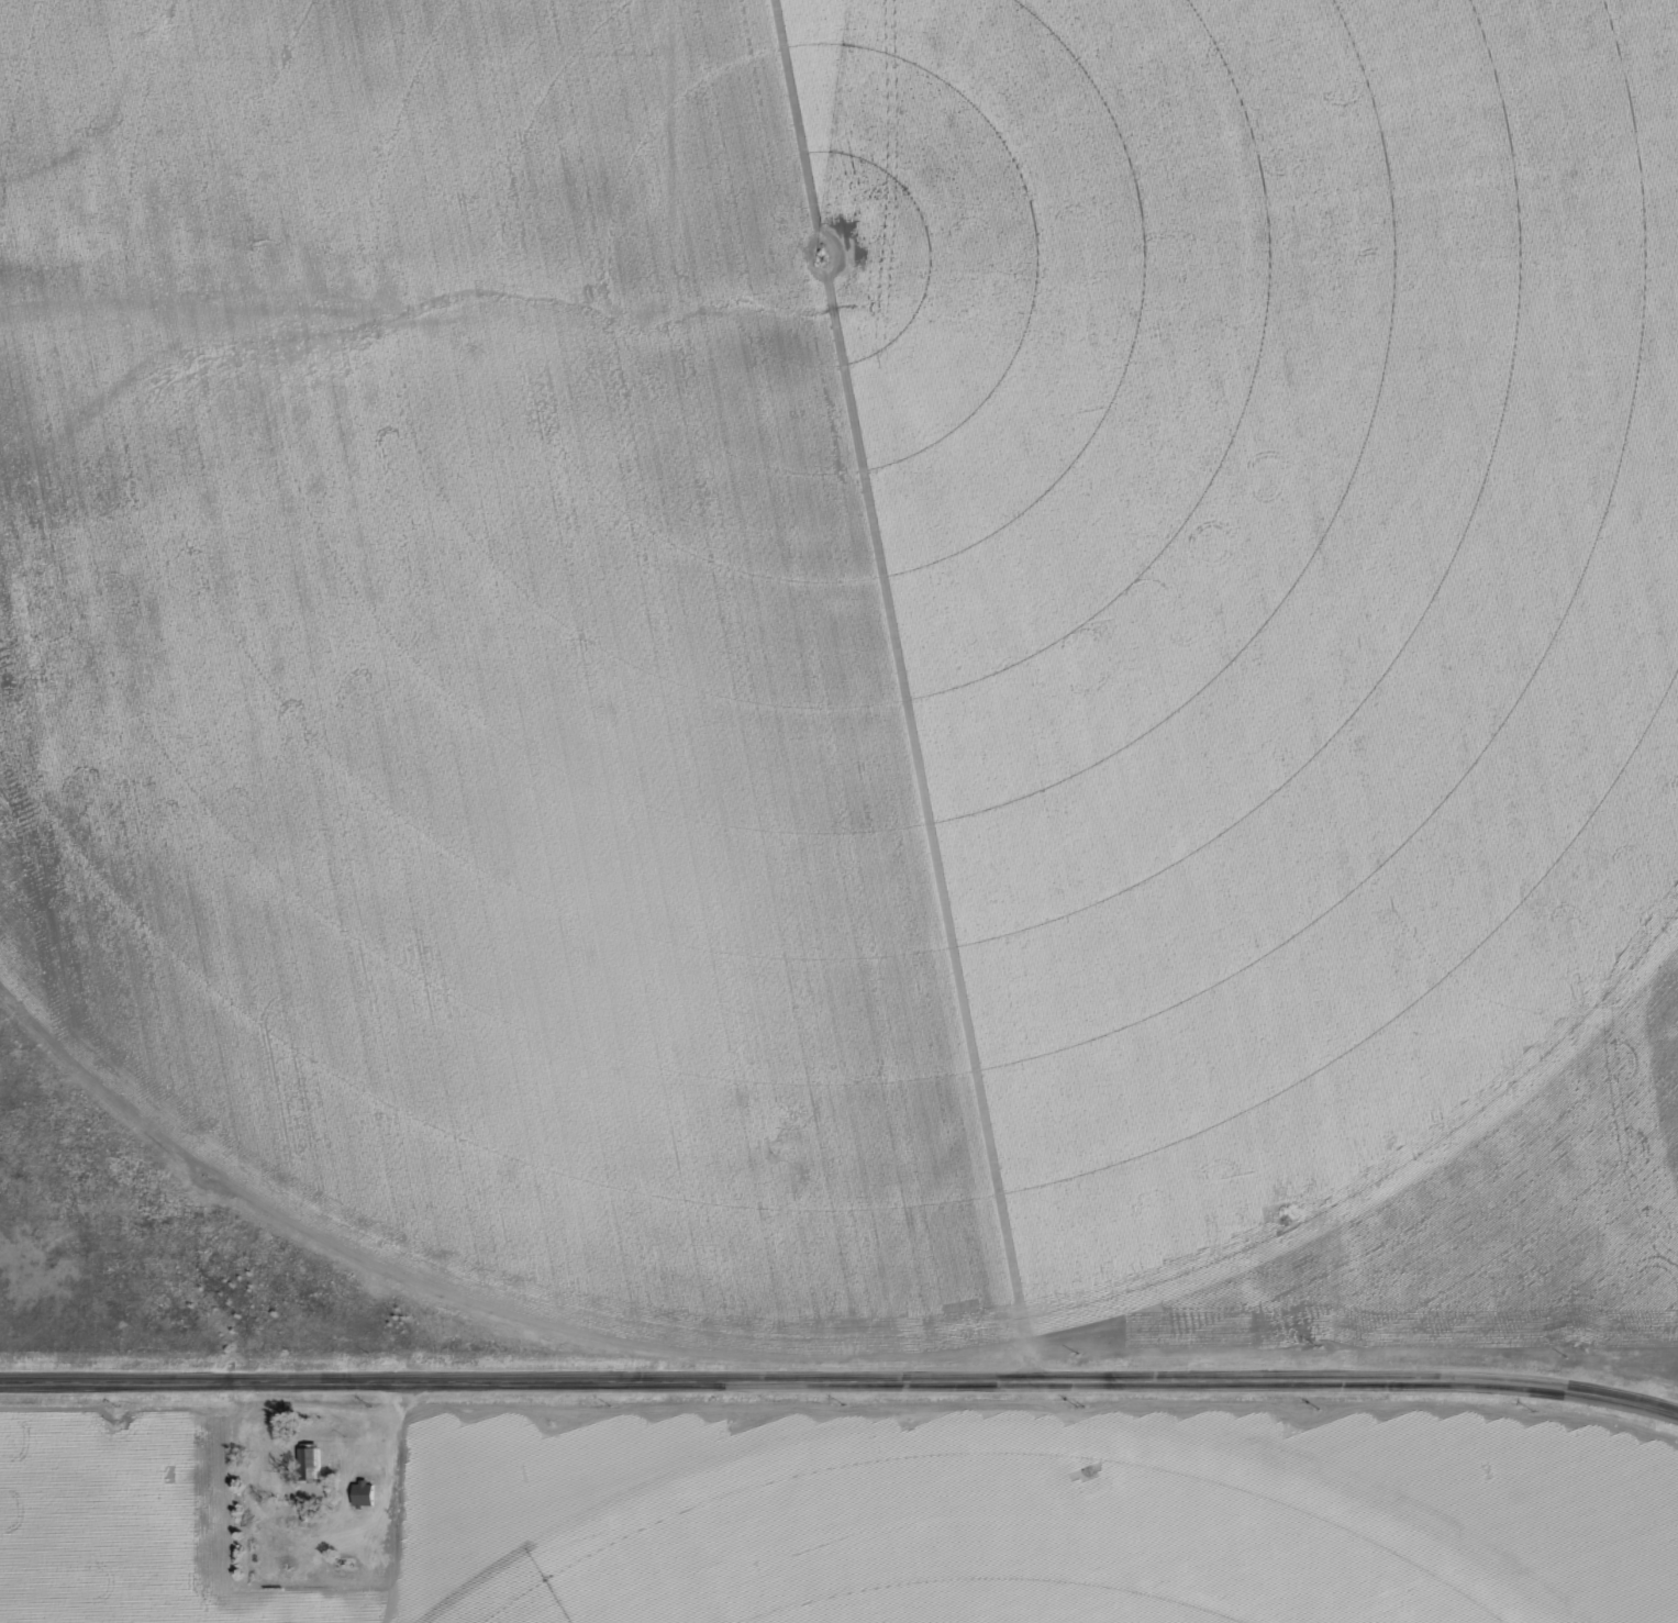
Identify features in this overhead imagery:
road: (841, 1372)
building: (308, 1464)
building: (360, 1492)

